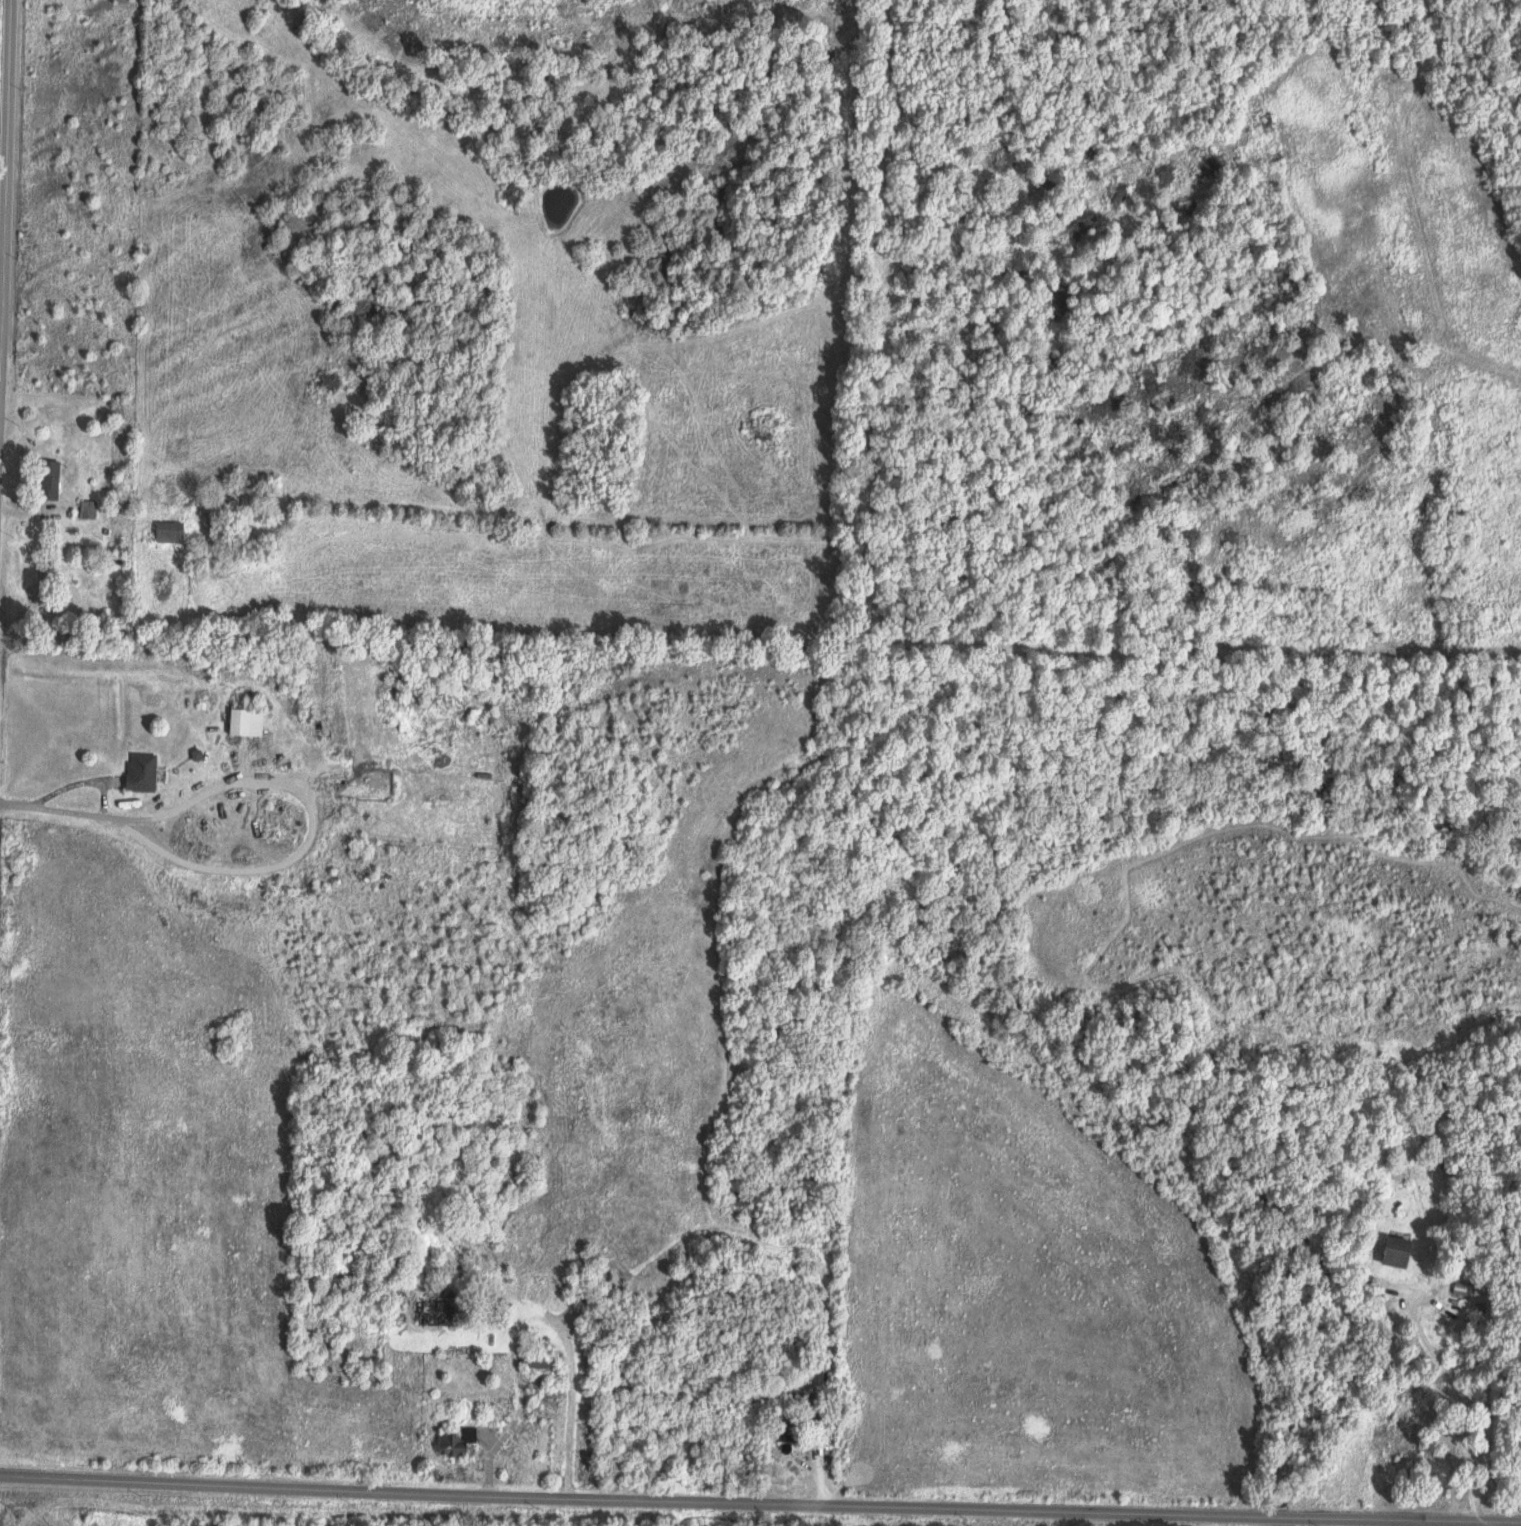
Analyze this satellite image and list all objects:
road: (5, 266)
building: (49, 480)
building: (170, 532)
building: (246, 721)
building: (141, 772)
building: (1402, 1251)
building: (1464, 1288)
building: (437, 1313)
building: (540, 1361)
building: (788, 1438)
building: (457, 1442)
road: (632, 1500)

